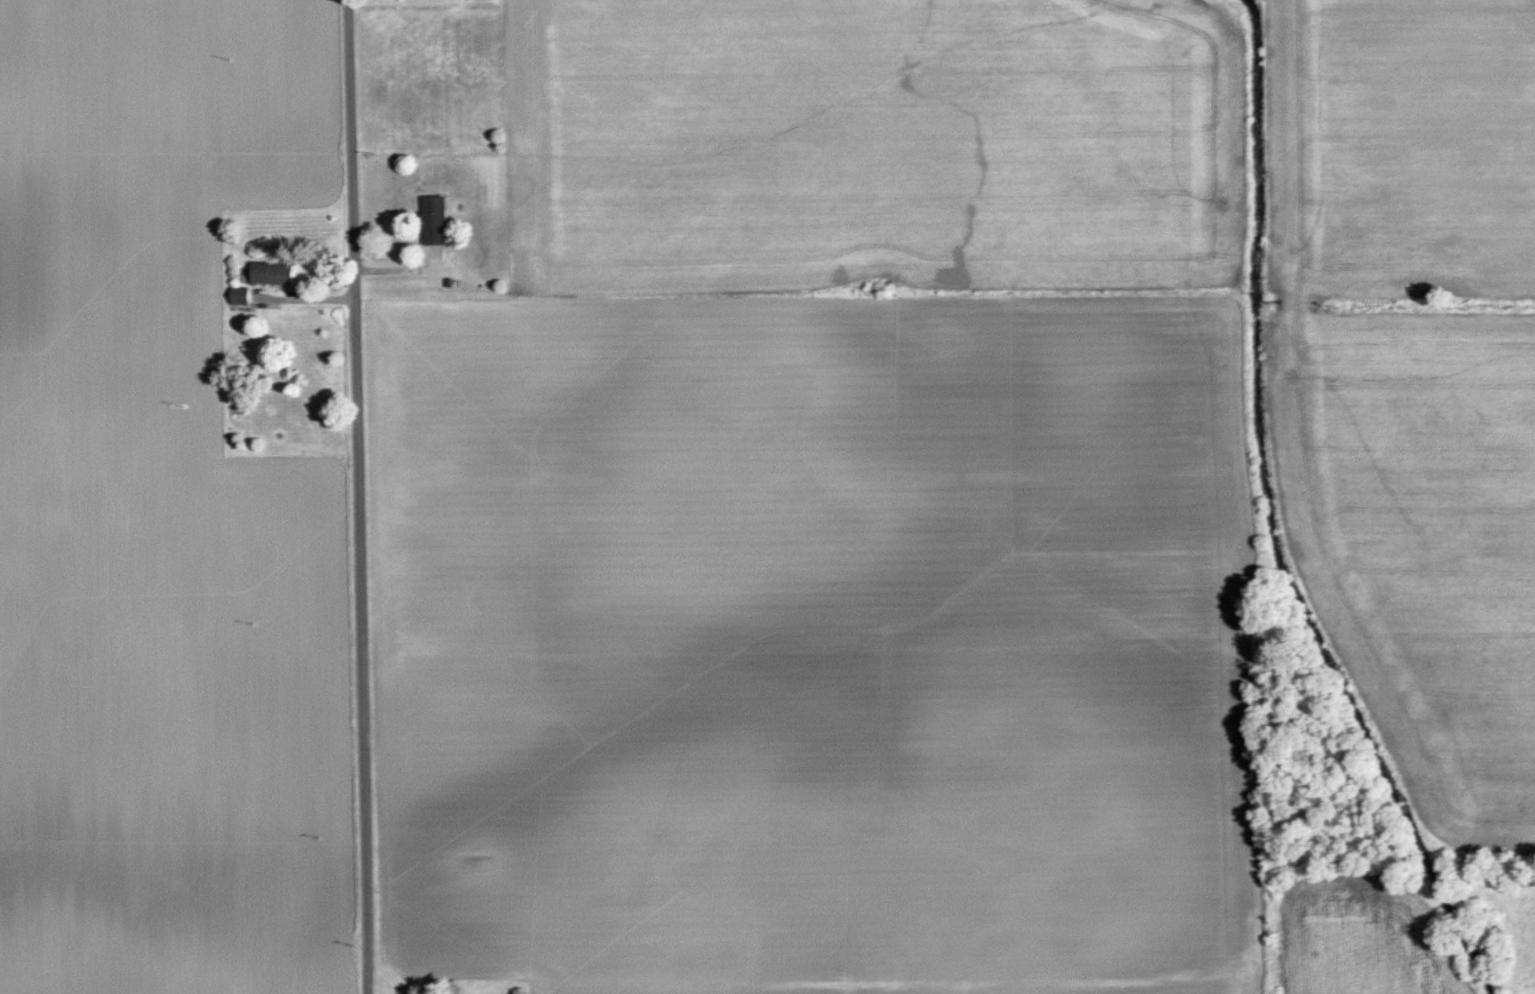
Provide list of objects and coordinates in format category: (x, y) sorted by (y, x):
building: (440, 220)
building: (278, 273)
road: (360, 497)

